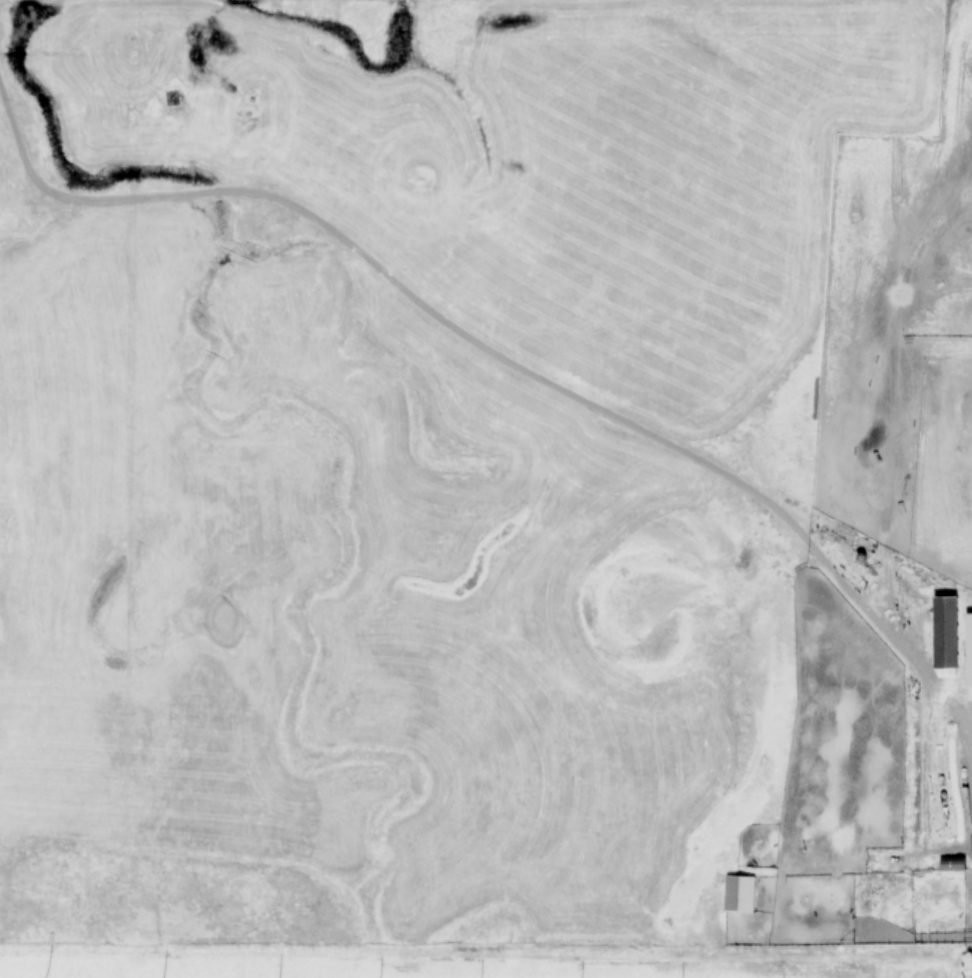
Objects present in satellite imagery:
building: (965, 402)
building: (946, 632)
building: (953, 864)
building: (740, 894)

